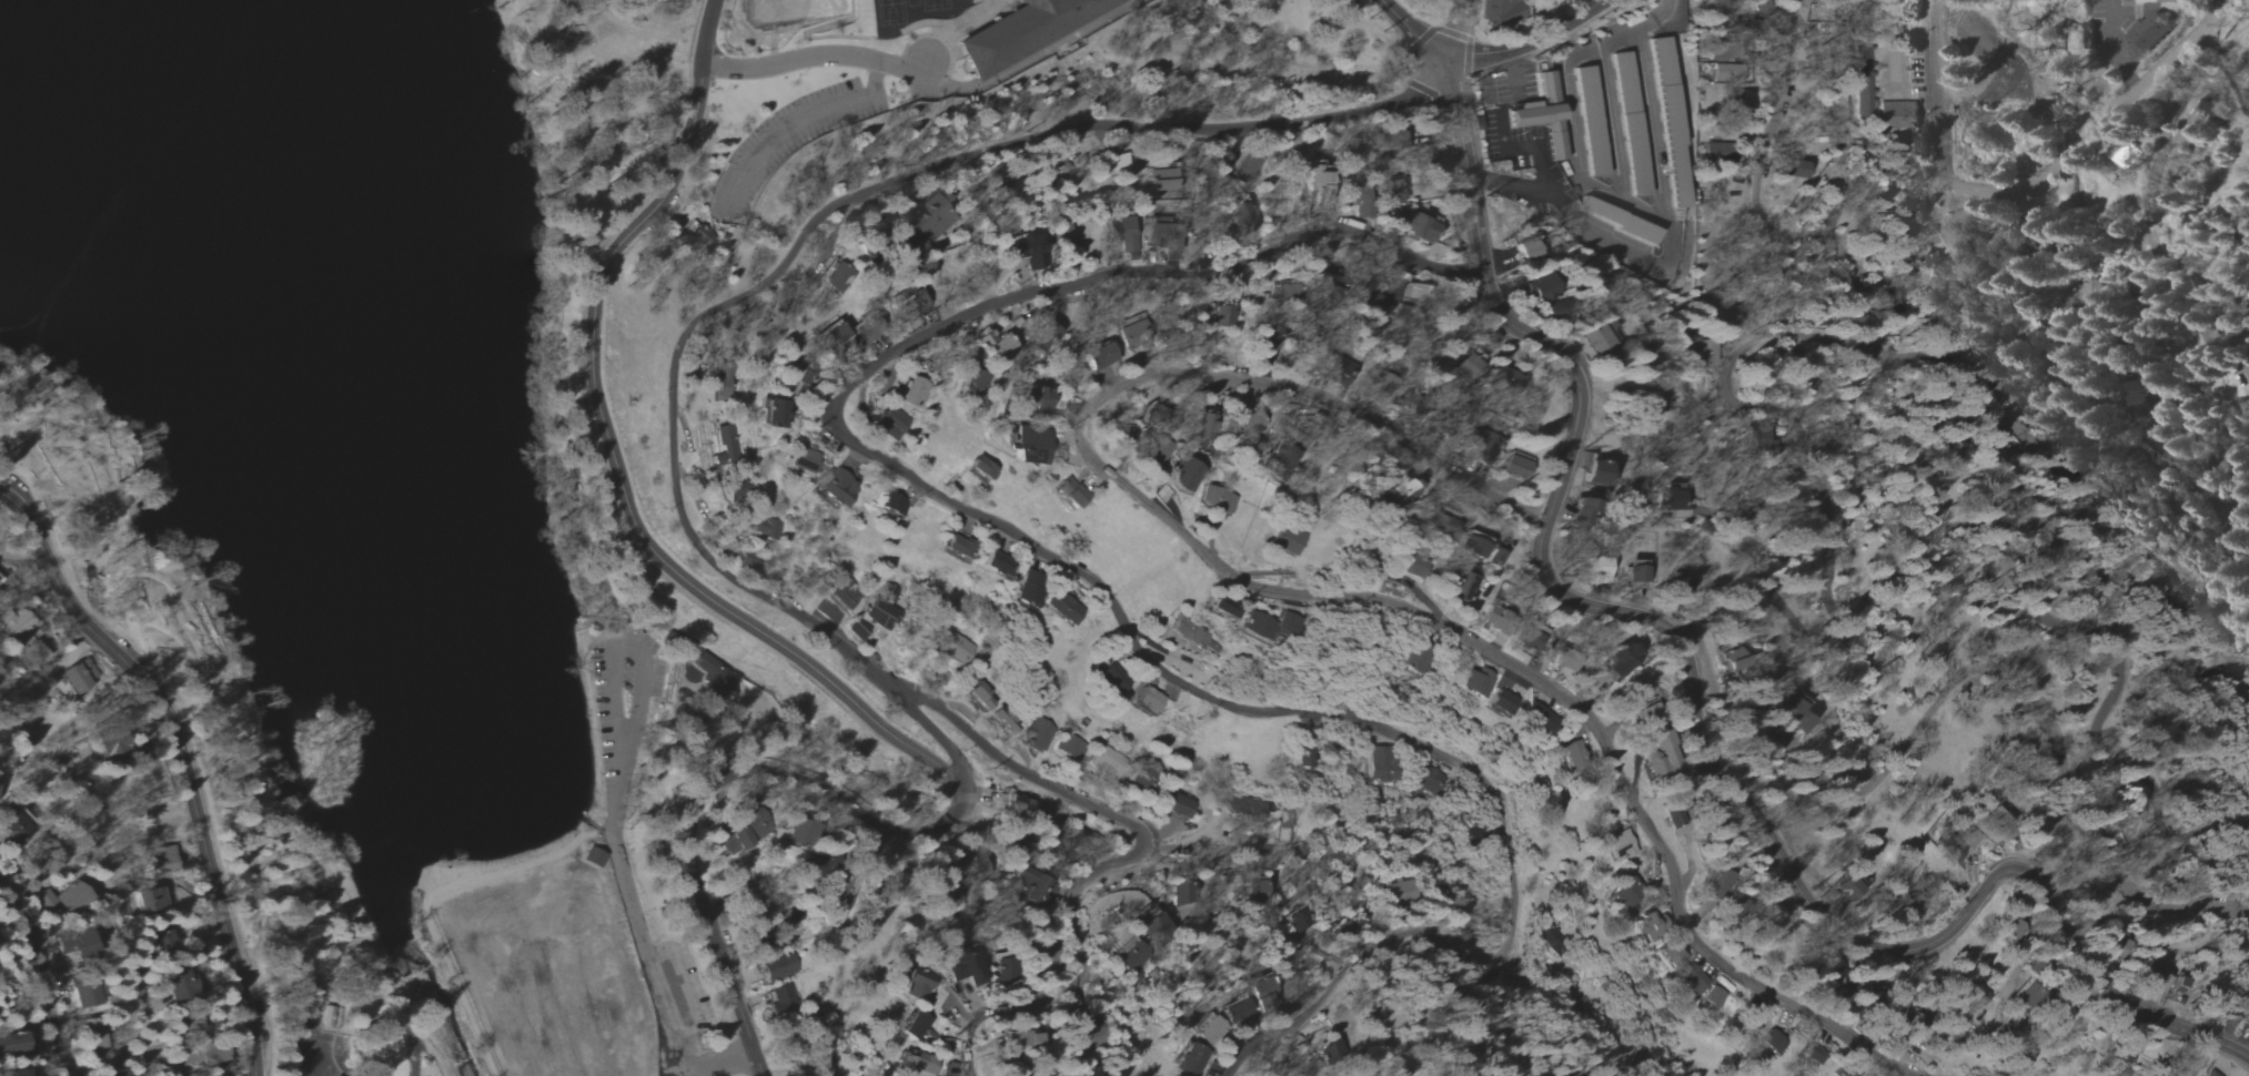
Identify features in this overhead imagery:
building: (2164, 0)
road: (2225, 3)
road: (2229, 3)
road: (1654, 17)
building: (1019, 31)
building: (2147, 31)
road: (712, 32)
road: (1465, 38)
road: (1537, 38)
road: (1418, 39)
road: (2115, 45)
road: (794, 61)
road: (2199, 65)
road: (1018, 67)
building: (1728, 72)
road: (2122, 97)
building: (1866, 105)
building: (2212, 111)
building: (1899, 114)
building: (1544, 115)
building: (1590, 121)
road: (1611, 122)
building: (1670, 122)
building: (1630, 123)
road: (801, 125)
road: (1943, 131)
building: (1398, 135)
building: (1718, 152)
building: (1117, 163)
building: (1247, 166)
building: (1799, 170)
road: (1540, 173)
building: (1161, 180)
building: (1318, 186)
road: (1624, 202)
building: (1362, 209)
building: (1245, 215)
building: (928, 219)
building: (1618, 220)
building: (1414, 225)
building: (2193, 225)
building: (1121, 229)
building: (1066, 235)
building: (1961, 236)
building: (699, 238)
road: (1618, 246)
building: (1032, 251)
building: (867, 253)
road: (785, 257)
road: (2156, 263)
building: (837, 277)
building: (1543, 290)
building: (2088, 294)
building: (1221, 314)
building: (835, 335)
building: (1598, 339)
building: (997, 346)
building: (1705, 354)
road: (1917, 355)
building: (1100, 356)
road: (2130, 357)
building: (1511, 379)
building: (724, 383)
building: (976, 384)
building: (916, 389)
building: (1037, 398)
building: (775, 413)
building: (1151, 416)
building: (892, 422)
building: (1203, 424)
building: (1030, 445)
building: (1486, 446)
building: (725, 447)
building: (1285, 455)
building: (803, 461)
building: (1515, 467)
building: (981, 468)
building: (1595, 473)
building: (1184, 474)
building: (836, 488)
road: (617, 493)
building: (1069, 493)
building: (1673, 497)
building: (1217, 501)
building: (890, 504)
park: (390, 506)
building: (1580, 511)
building: (1439, 522)
building: (763, 527)
building: (1287, 540)
building: (958, 547)
building: (1482, 550)
building: (750, 560)
road: (1890, 561)
road: (1091, 564)
building: (997, 565)
building: (1596, 567)
building: (1411, 568)
building: (1636, 571)
building: (1460, 586)
road: (571, 588)
road: (1765, 588)
building: (1028, 589)
road: (1304, 598)
building: (1065, 607)
building: (1221, 607)
building: (829, 612)
building: (874, 618)
building: (1491, 619)
building: (1267, 627)
building: (20, 630)
building: (1189, 633)
building: (1534, 638)
road: (632, 647)
building: (957, 649)
building: (1726, 657)
building: (1412, 658)
building: (1618, 660)
building: (81, 677)
road: (795, 677)
building: (1112, 680)
building: (716, 682)
road: (1968, 682)
building: (1474, 683)
building: (1144, 700)
building: (1501, 702)
building: (991, 707)
road: (225, 712)
building: (1786, 713)
building: (1643, 718)
building: (1536, 720)
road: (1692, 720)
building: (687, 722)
building: (1037, 734)
road: (188, 740)
building: (115, 747)
building: (1069, 747)
building: (1572, 755)
road: (181, 758)
building: (1658, 759)
building: (1105, 761)
building: (1381, 765)
building: (1428, 782)
road: (708, 786)
building: (2125, 799)
building: (1018, 804)
building: (1179, 805)
building: (1244, 808)
building: (1675, 816)
building: (16, 825)
building: (1288, 830)
road: (598, 831)
building: (747, 833)
building: (797, 833)
building: (1617, 845)
building: (44, 854)
building: (594, 857)
building: (162, 861)
road: (1103, 865)
building: (977, 871)
road: (110, 872)
building: (1030, 884)
building: (1846, 887)
building: (1257, 892)
building: (1402, 892)
building: (1624, 893)
building: (1182, 894)
building: (73, 899)
building: (150, 900)
road: (633, 906)
building: (1299, 920)
building: (1156, 927)
building: (1647, 927)
building: (1340, 930)
building: (2013, 931)
building: (1549, 942)
building: (74, 945)
building: (1130, 955)
building: (1671, 955)
building: (778, 966)
building: (1006, 967)
building: (966, 970)
road: (40, 974)
park: (551, 979)
building: (919, 986)
building: (2155, 987)
building: (1702, 989)
building: (184, 991)
building: (1259, 992)
building: (85, 995)
building: (2033, 997)
building: (784, 1001)
building: (1233, 1011)
building: (2239, 1012)
building: (330, 1019)
building: (186, 1024)
building: (915, 1026)
building: (1209, 1029)
building: (1022, 1042)
building: (1771, 1043)
building: (11, 1046)
building: (1330, 1053)
building: (1812, 1056)
building: (1191, 1059)
road: (710, 1063)
building: (917, 1063)
building: (826, 1067)
building: (1846, 1072)
building: (12, 1073)
building: (2175, 1073)
building: (2210, 1074)

